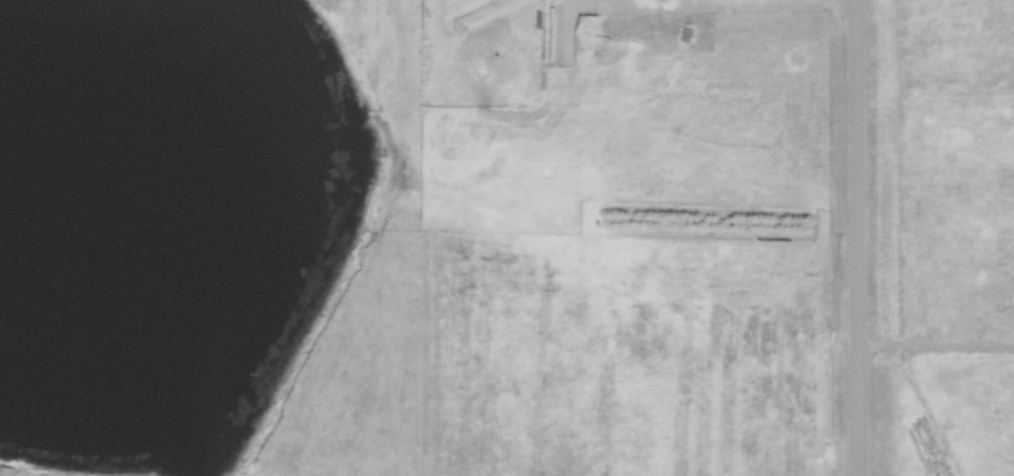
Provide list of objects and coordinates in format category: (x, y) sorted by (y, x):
road: (859, 238)

